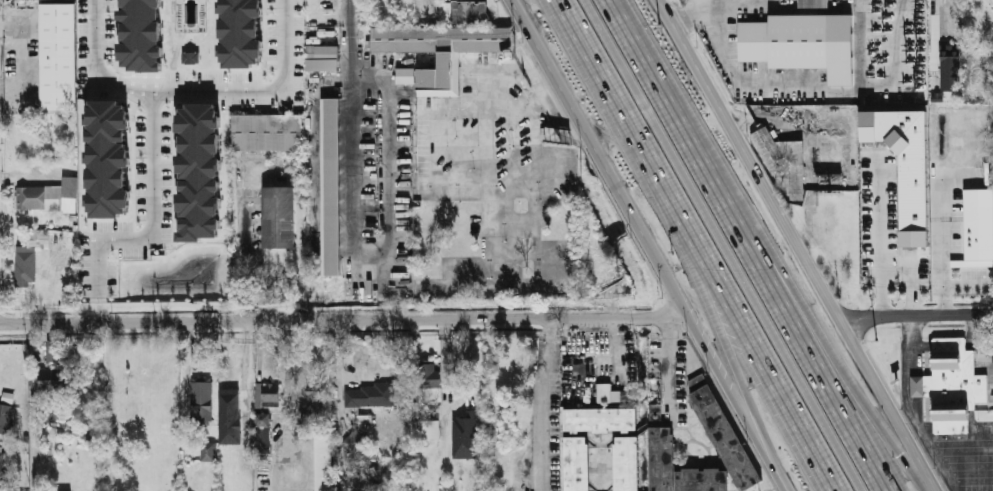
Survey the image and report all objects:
building: (812, 3)
building: (462, 11)
road: (944, 17)
building: (239, 33)
building: (140, 35)
road: (349, 37)
road: (633, 38)
building: (784, 41)
building: (439, 49)
building: (321, 50)
road: (21, 52)
building: (56, 55)
building: (190, 57)
building: (319, 63)
building: (949, 67)
building: (404, 75)
road: (196, 101)
road: (621, 112)
building: (265, 131)
building: (107, 158)
building: (783, 159)
building: (904, 164)
road: (708, 169)
building: (199, 172)
building: (330, 186)
building: (52, 199)
building: (277, 216)
building: (977, 229)
road: (152, 231)
road: (641, 235)
road: (878, 236)
road: (724, 245)
road: (801, 245)
building: (29, 256)
road: (385, 256)
building: (903, 259)
road: (916, 313)
road: (343, 321)
road: (728, 346)
building: (50, 351)
road: (612, 356)
road: (758, 357)
road: (667, 367)
road: (910, 367)
road: (847, 372)
road: (825, 375)
building: (953, 377)
building: (60, 378)
parking lot: (990, 384)
building: (920, 385)
building: (431, 388)
building: (603, 393)
building: (271, 394)
building: (368, 396)
building: (7, 397)
building: (315, 401)
building: (201, 402)
building: (236, 402)
road: (540, 405)
road: (30, 408)
building: (414, 409)
building: (654, 409)
building: (51, 415)
building: (5, 418)
building: (600, 420)
building: (365, 421)
building: (949, 422)
building: (419, 429)
building: (262, 433)
parking lot: (949, 435)
building: (464, 436)
building: (725, 437)
building: (354, 442)
road: (959, 443)
building: (661, 448)
road: (961, 450)
building: (208, 451)
road: (932, 455)
road: (964, 458)
building: (323, 463)
building: (2, 464)
building: (577, 464)
building: (626, 464)
road: (966, 465)
road: (968, 472)
road: (782, 479)
road: (970, 479)
parking lot: (978, 487)

